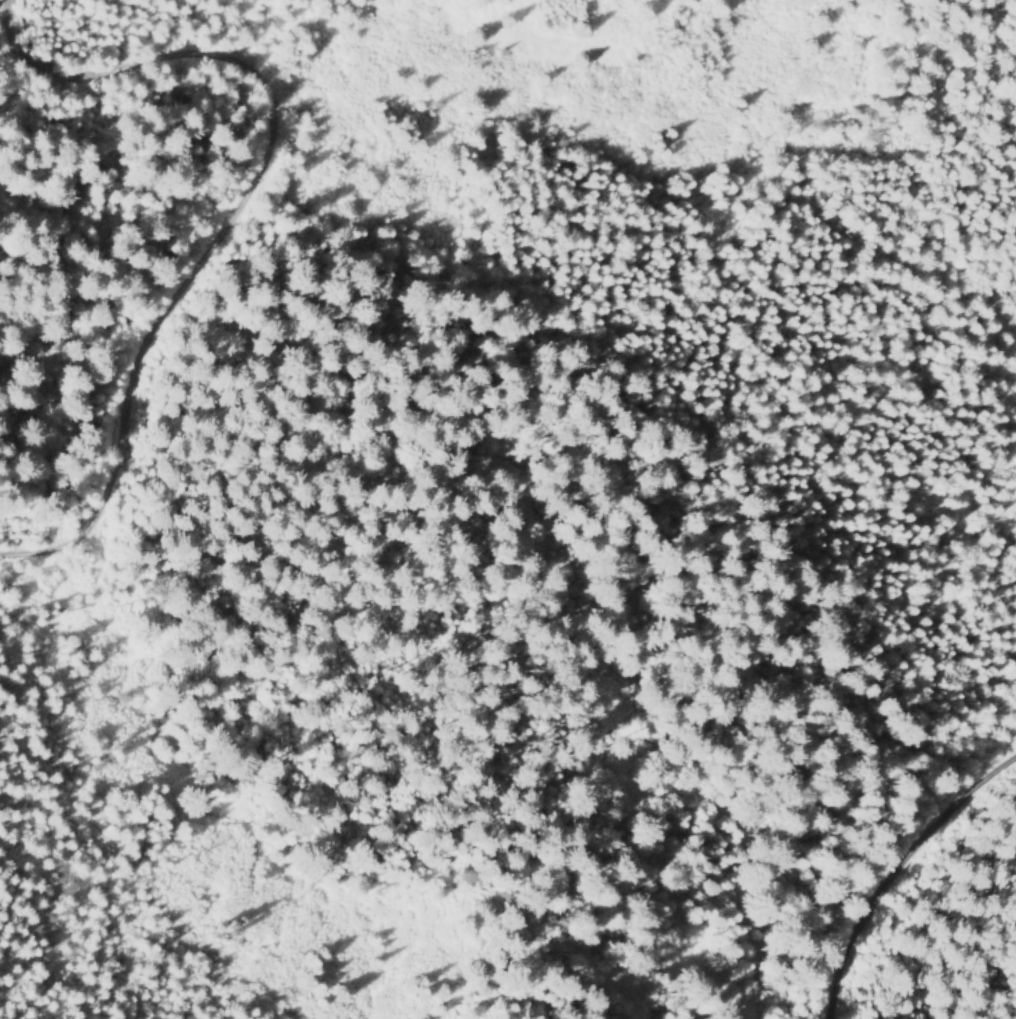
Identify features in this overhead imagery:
road: (255, 202)
road: (899, 869)

